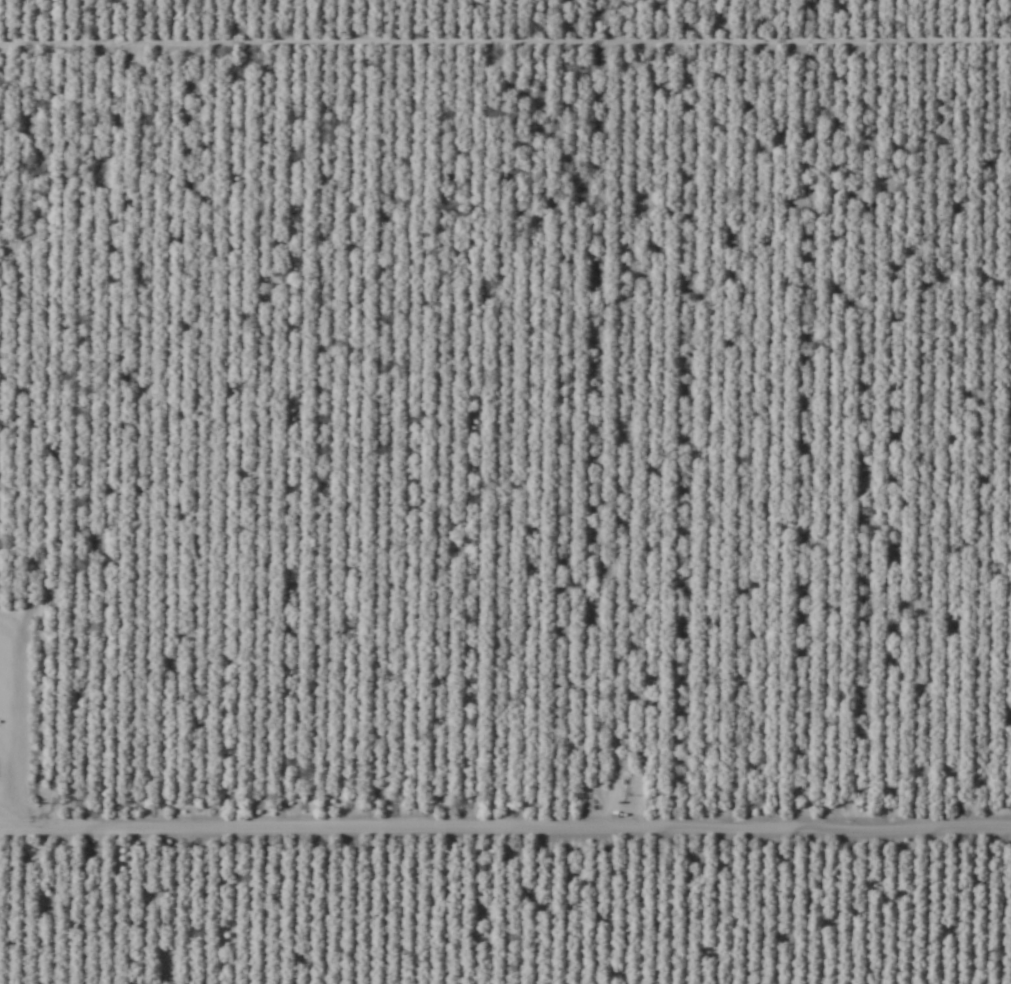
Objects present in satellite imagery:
crop: (505, 492)
road: (395, 626)
road: (504, 781)

